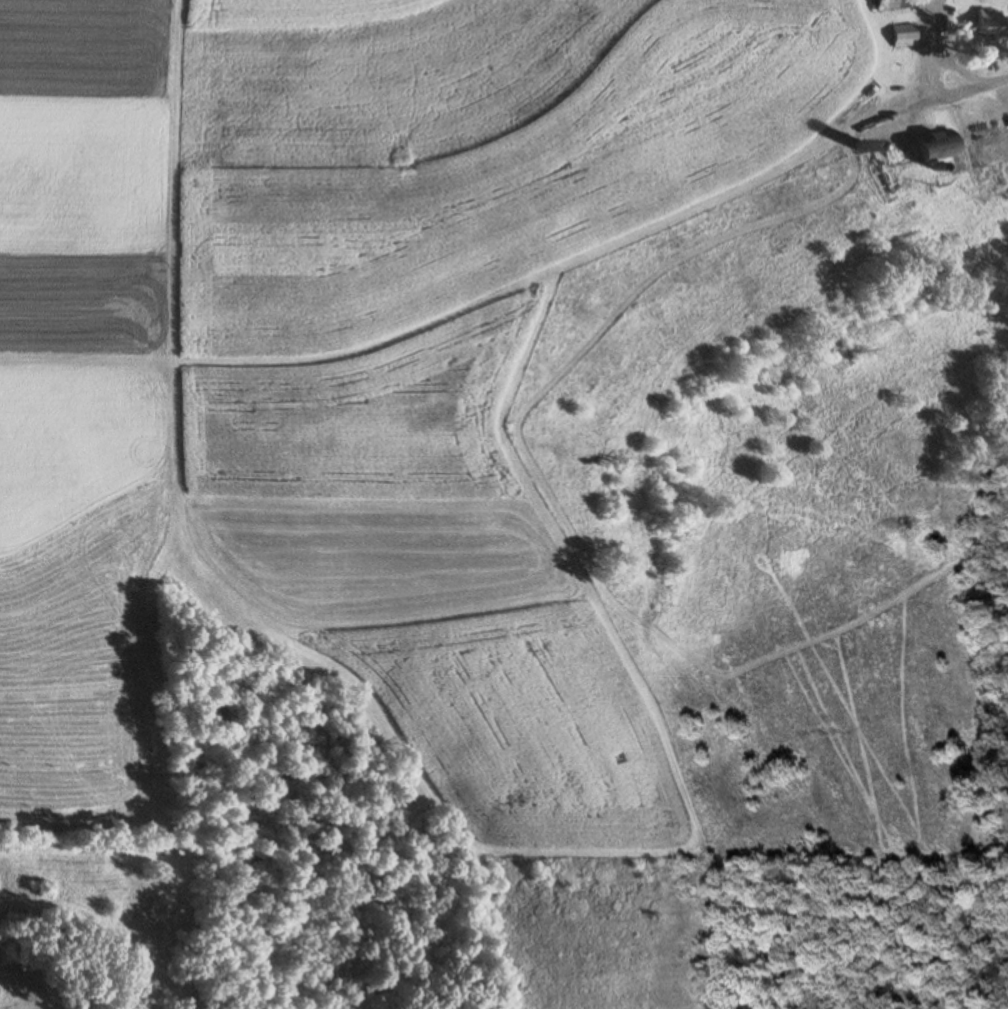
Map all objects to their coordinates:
building: (894, 5)
building: (987, 24)
building: (905, 36)
road: (925, 64)
road: (998, 83)
building: (939, 147)

